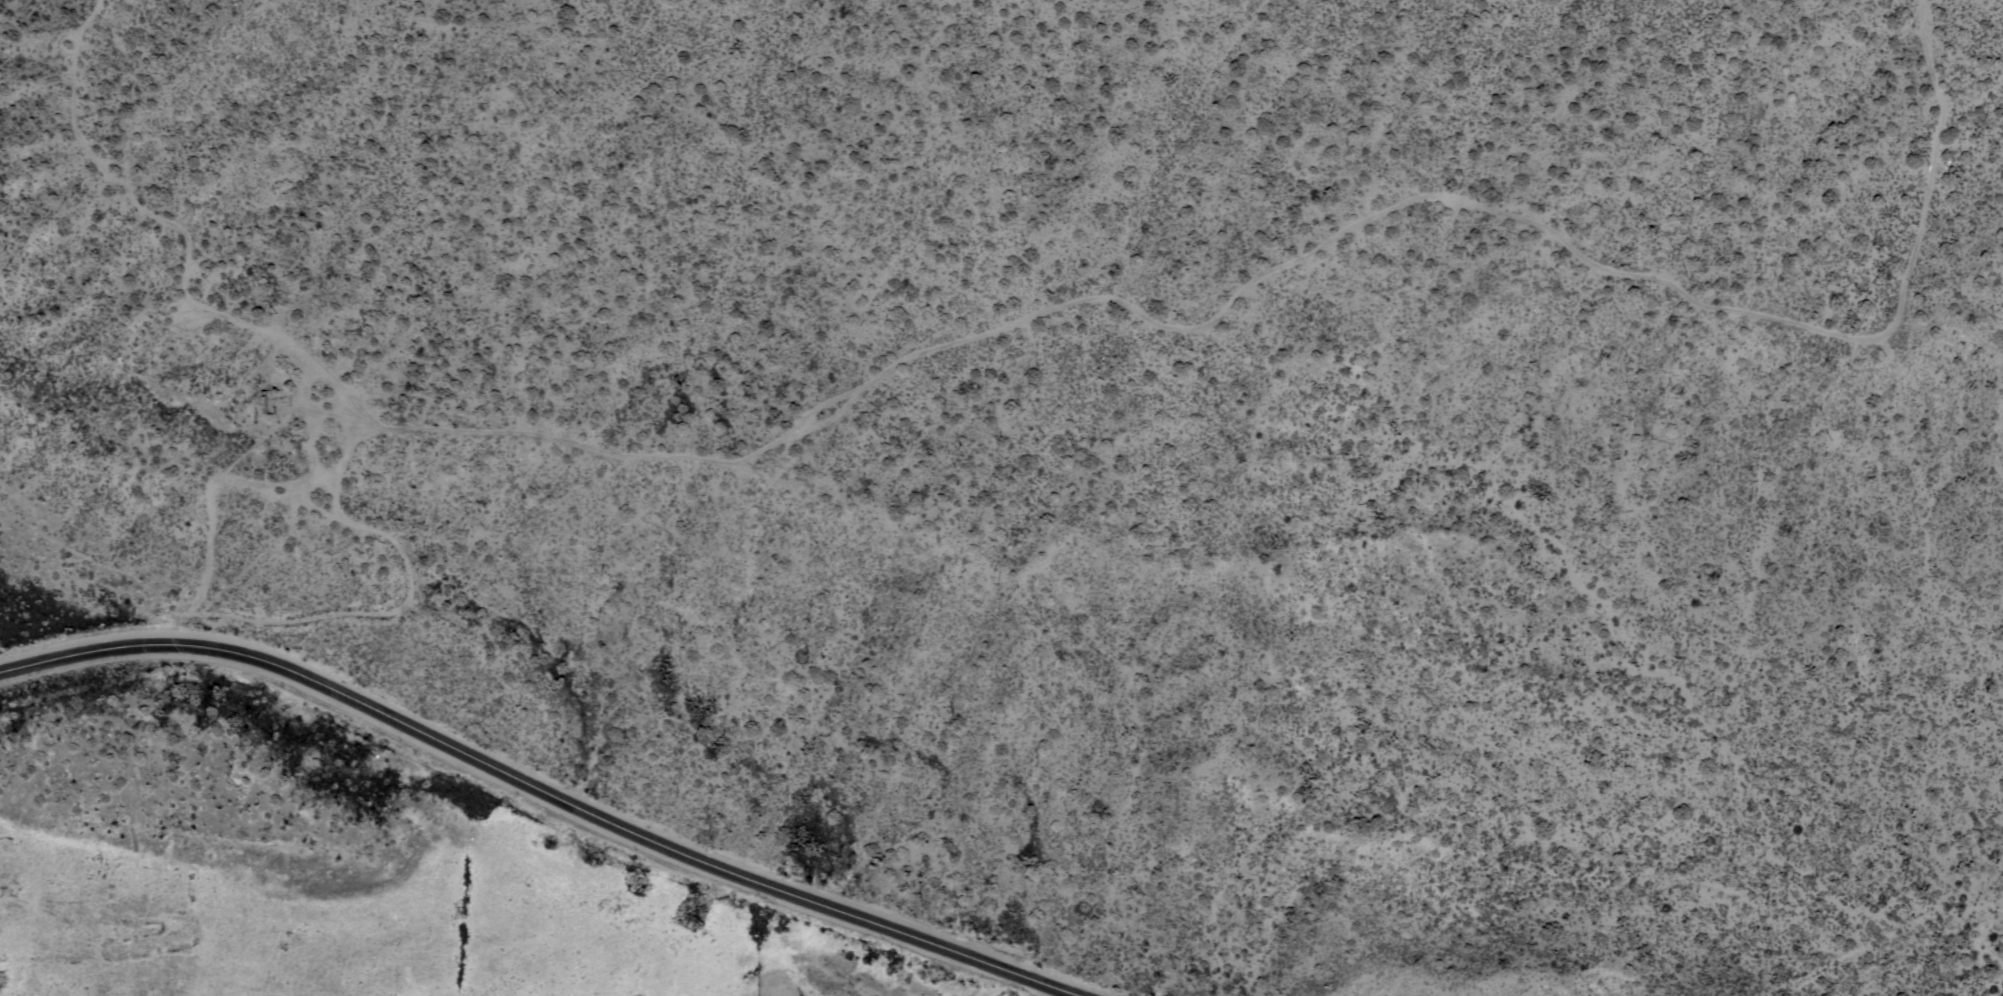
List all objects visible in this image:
road: (218, 483)
road: (539, 789)

